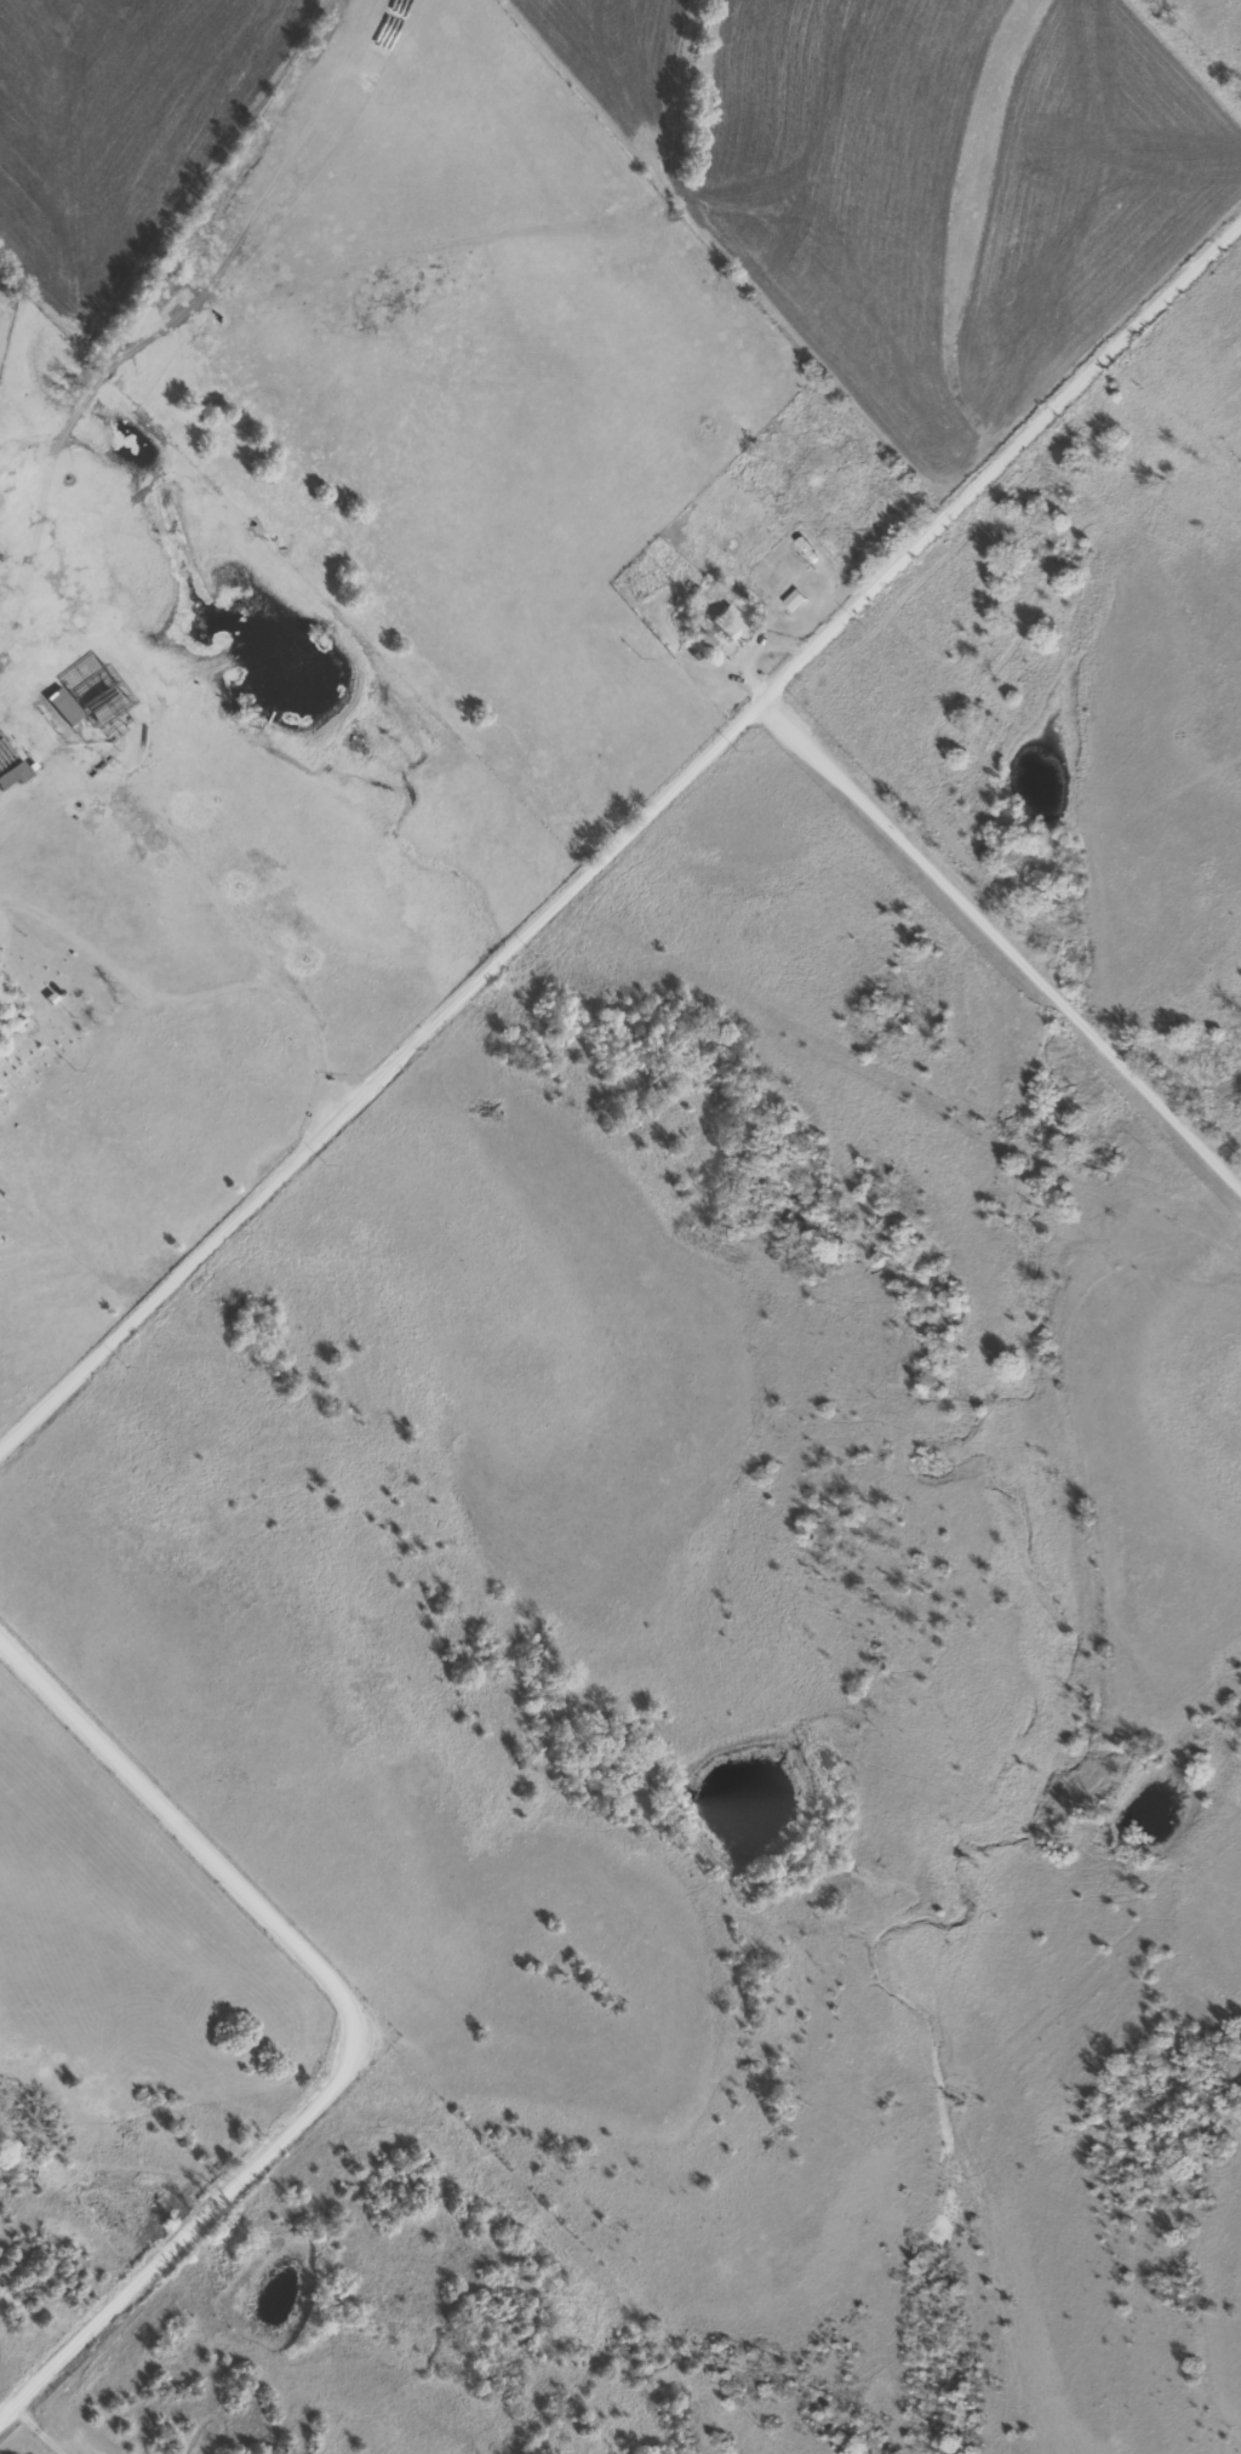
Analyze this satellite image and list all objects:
road: (997, 462)
building: (673, 587)
building: (728, 622)
building: (102, 703)
building: (63, 704)
road: (1000, 941)
road: (200, 997)
building: (91, 1005)
road: (378, 1075)
road: (355, 2015)

